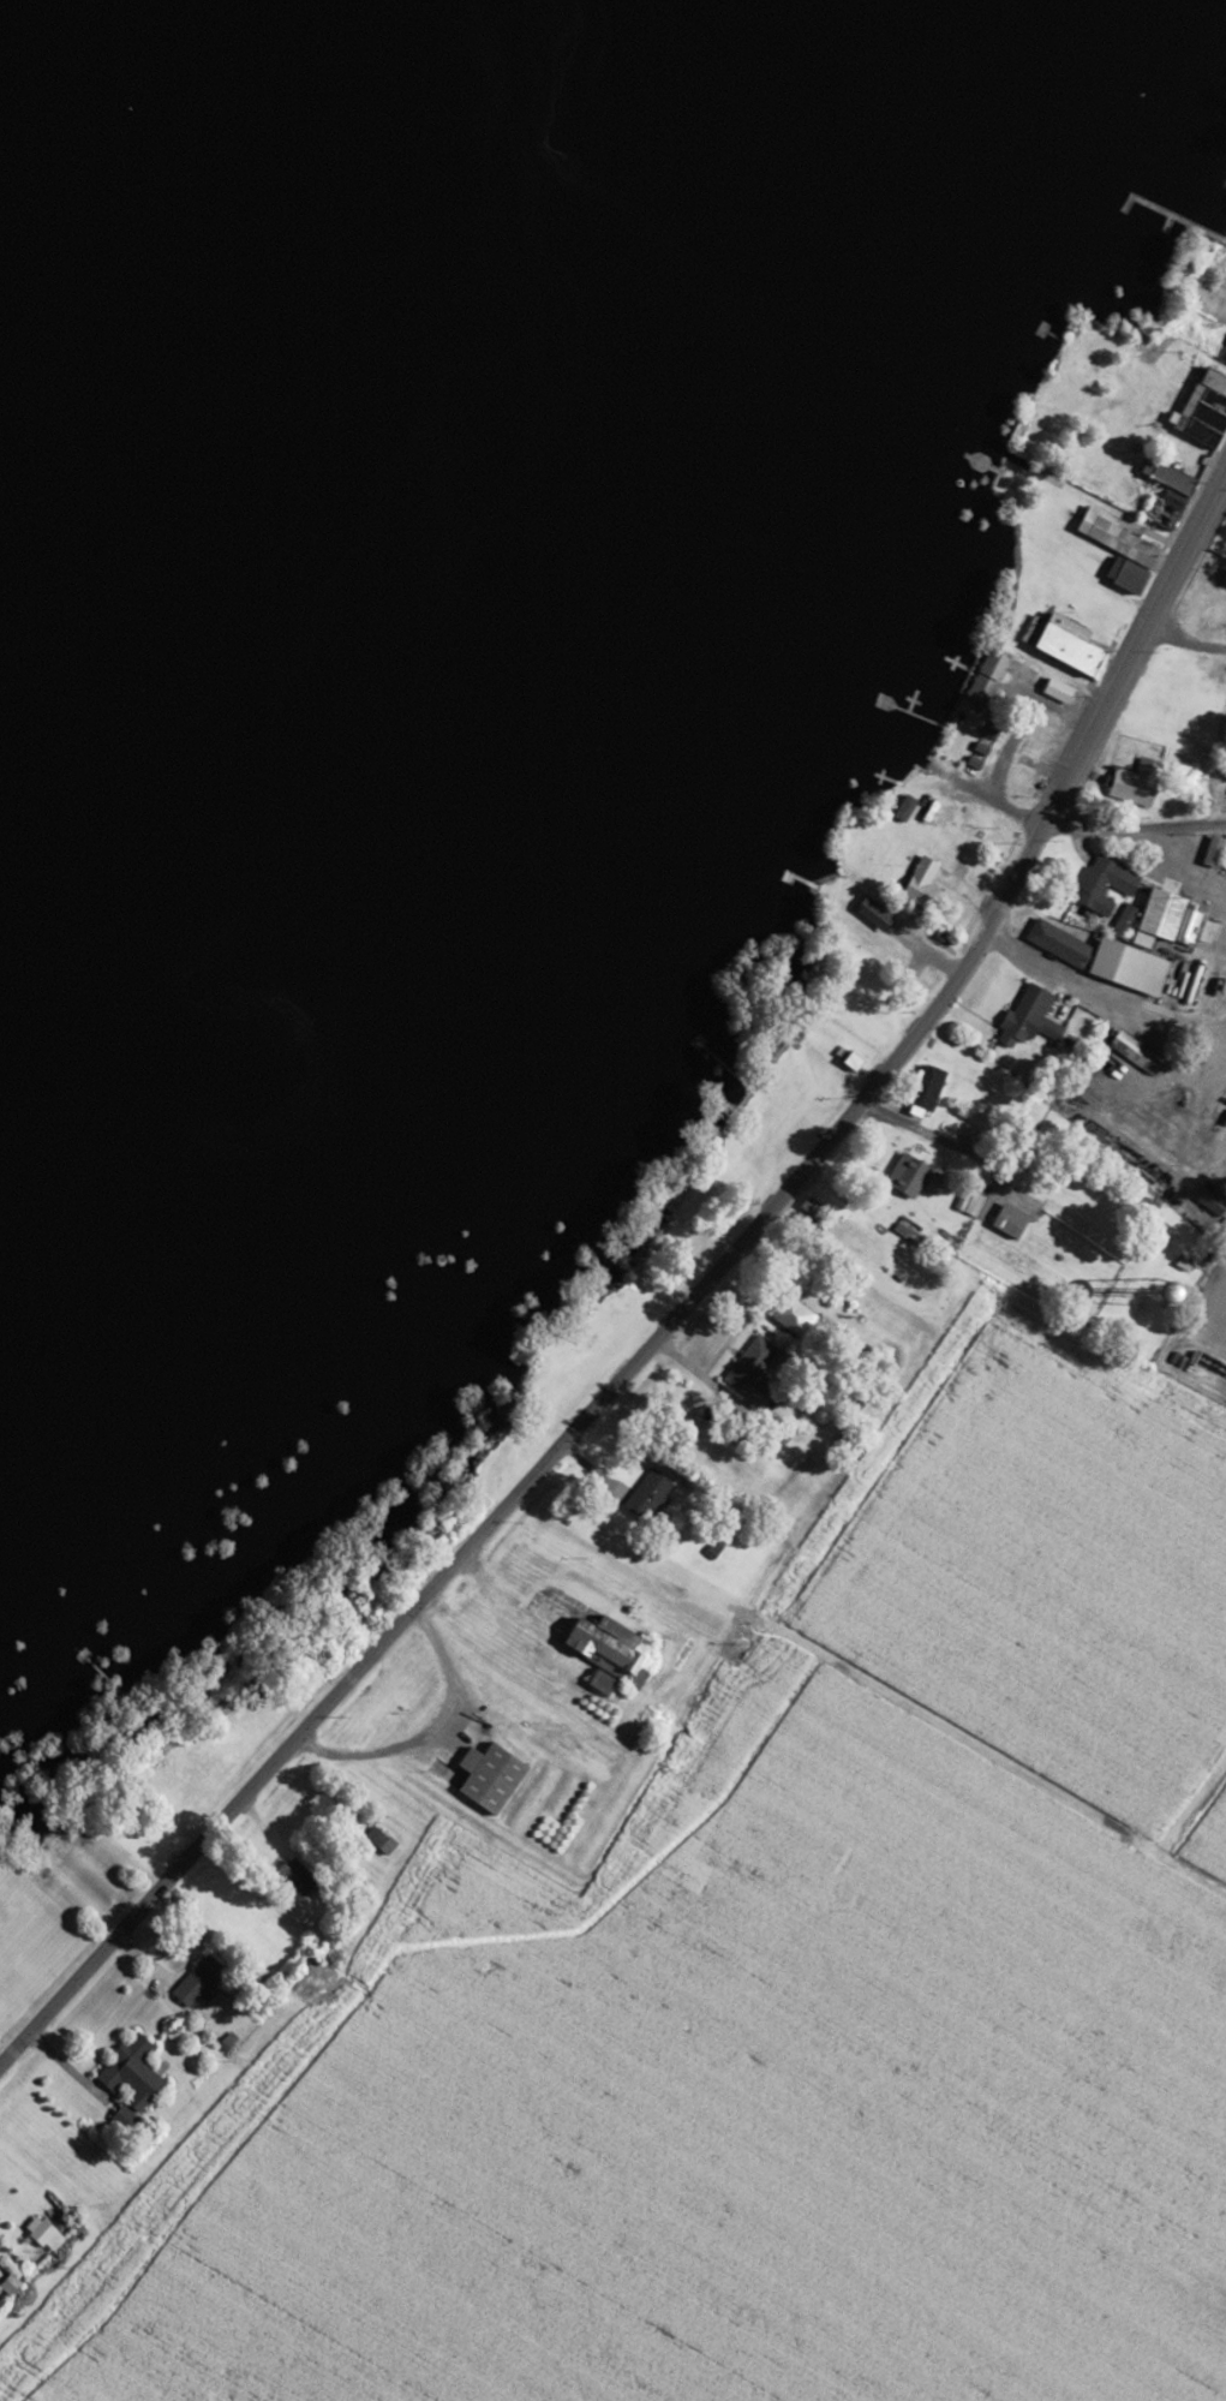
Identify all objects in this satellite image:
building: (1201, 406)
building: (1160, 474)
building: (1118, 554)
road: (1184, 640)
building: (1063, 646)
building: (980, 676)
building: (1194, 772)
building: (1130, 782)
building: (896, 808)
road: (1135, 824)
road: (1182, 858)
building: (914, 883)
building: (1098, 884)
building: (1160, 919)
building: (881, 948)
road: (1112, 991)
building: (1019, 1017)
building: (1128, 1051)
building: (845, 1059)
building: (921, 1087)
building: (901, 1177)
building: (967, 1204)
building: (1001, 1222)
building: (848, 1237)
building: (785, 1316)
road: (686, 1318)
building: (742, 1364)
building: (640, 1497)
building: (598, 1648)
building: (483, 1778)
building: (193, 1983)
building: (122, 2078)

